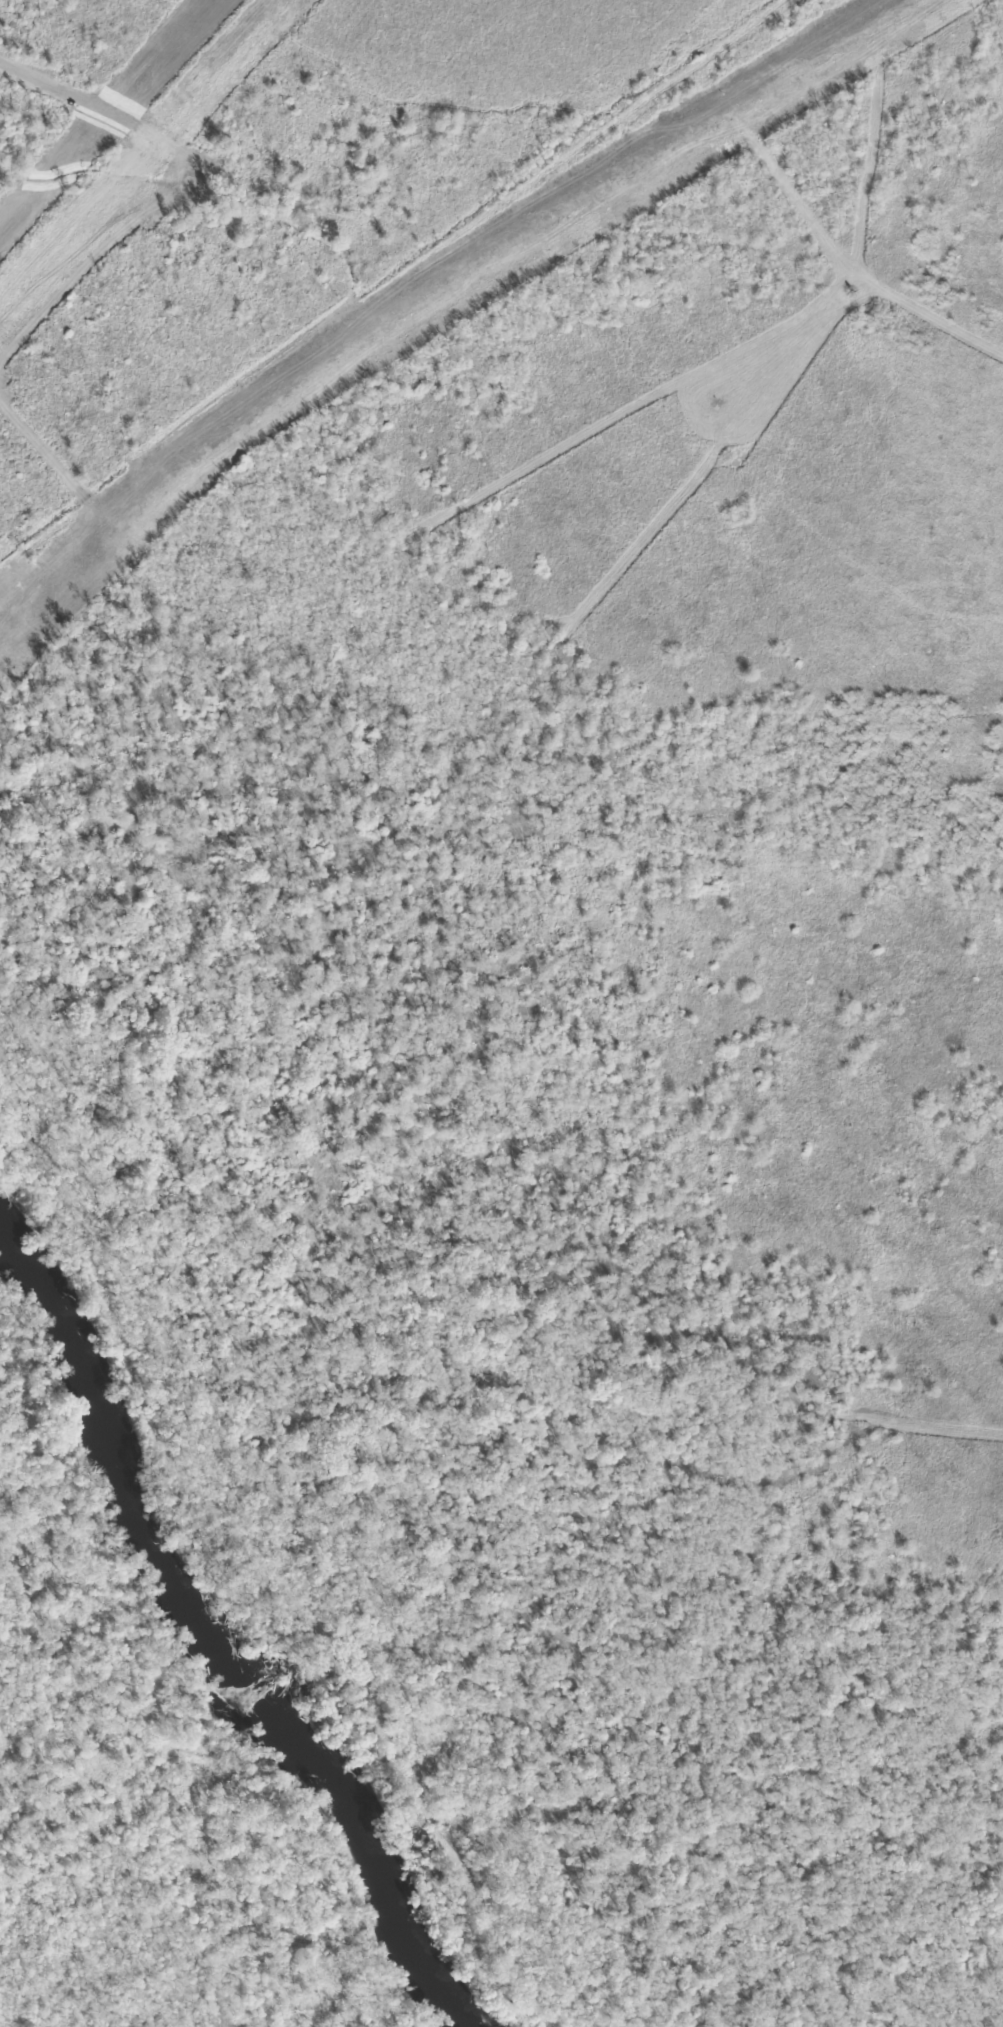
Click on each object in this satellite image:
road: (69, 94)
road: (134, 144)
river: (229, 1639)

